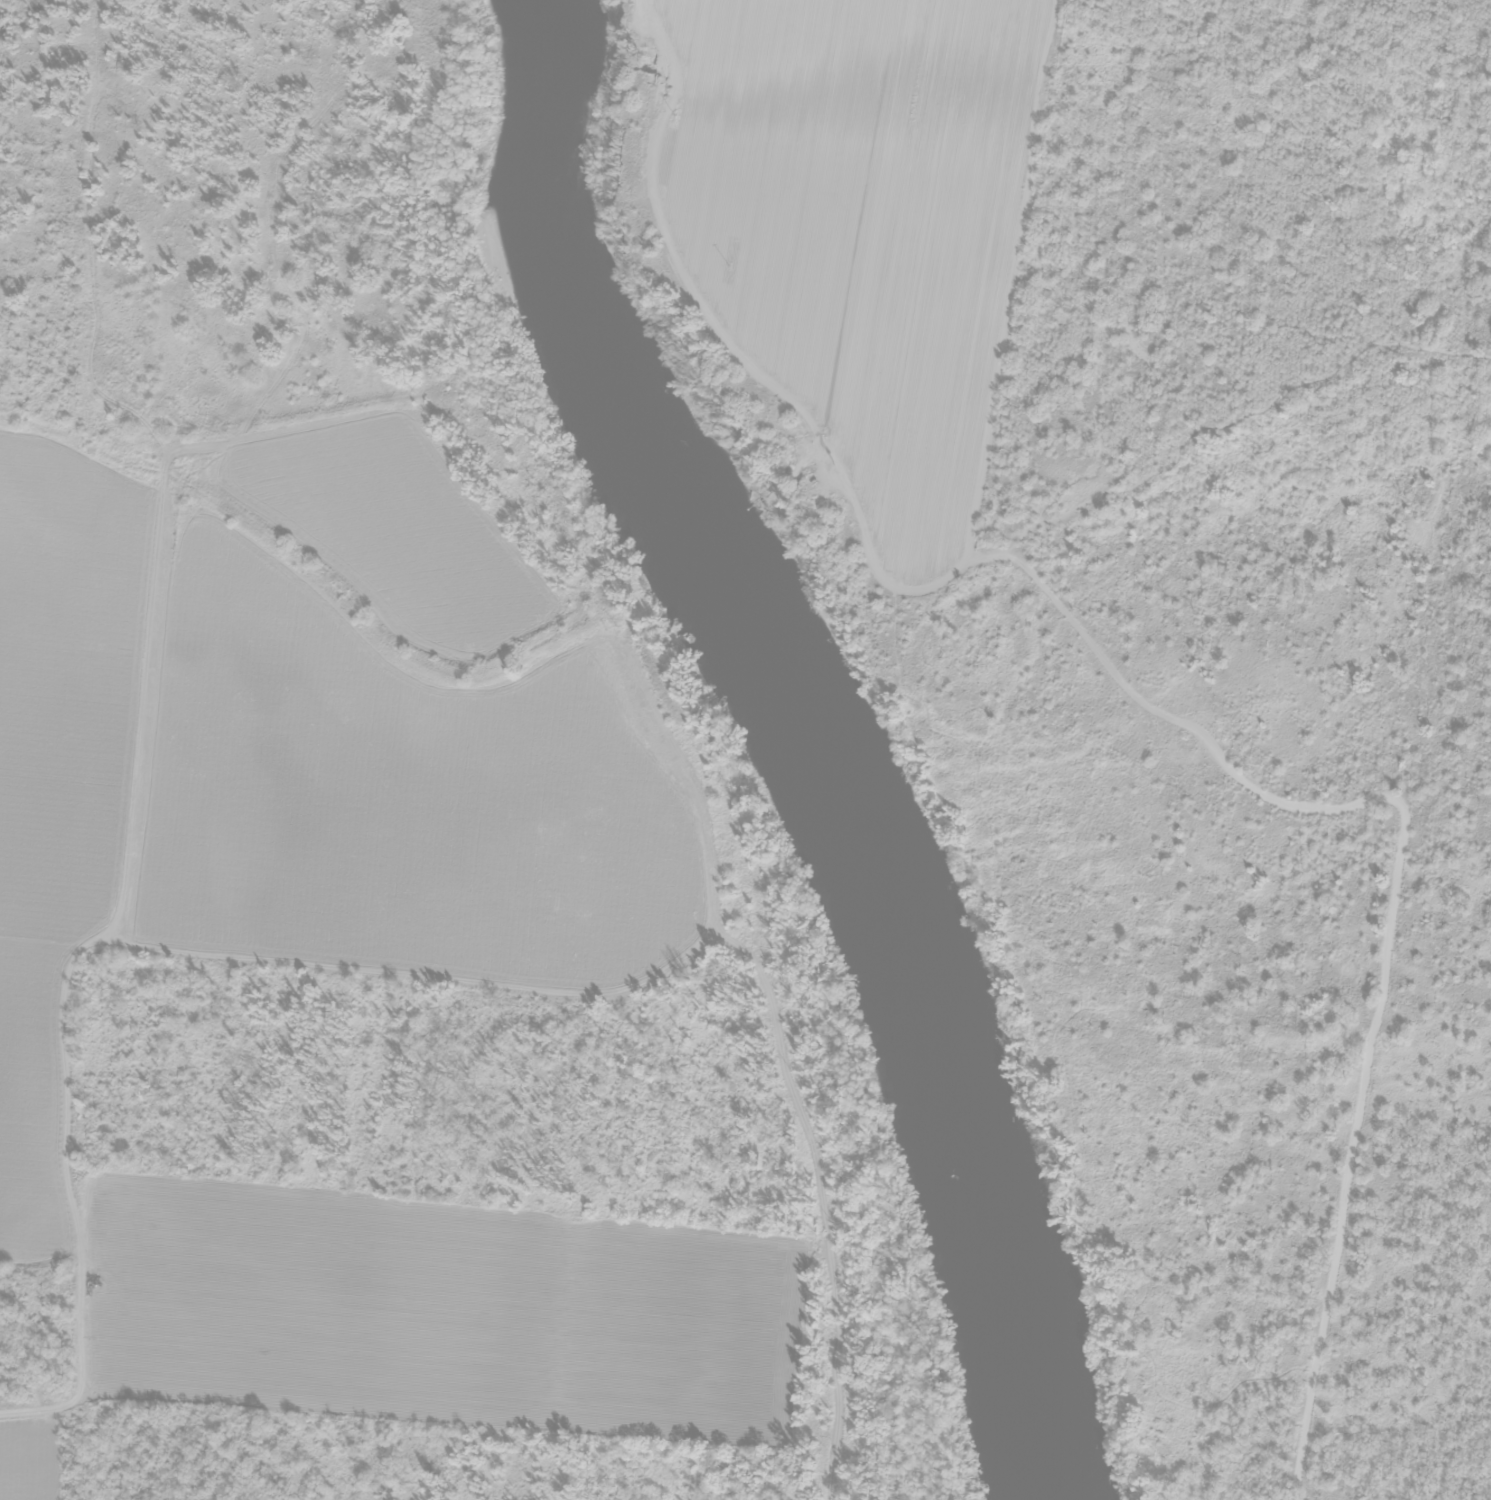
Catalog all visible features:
river: (808, 732)

